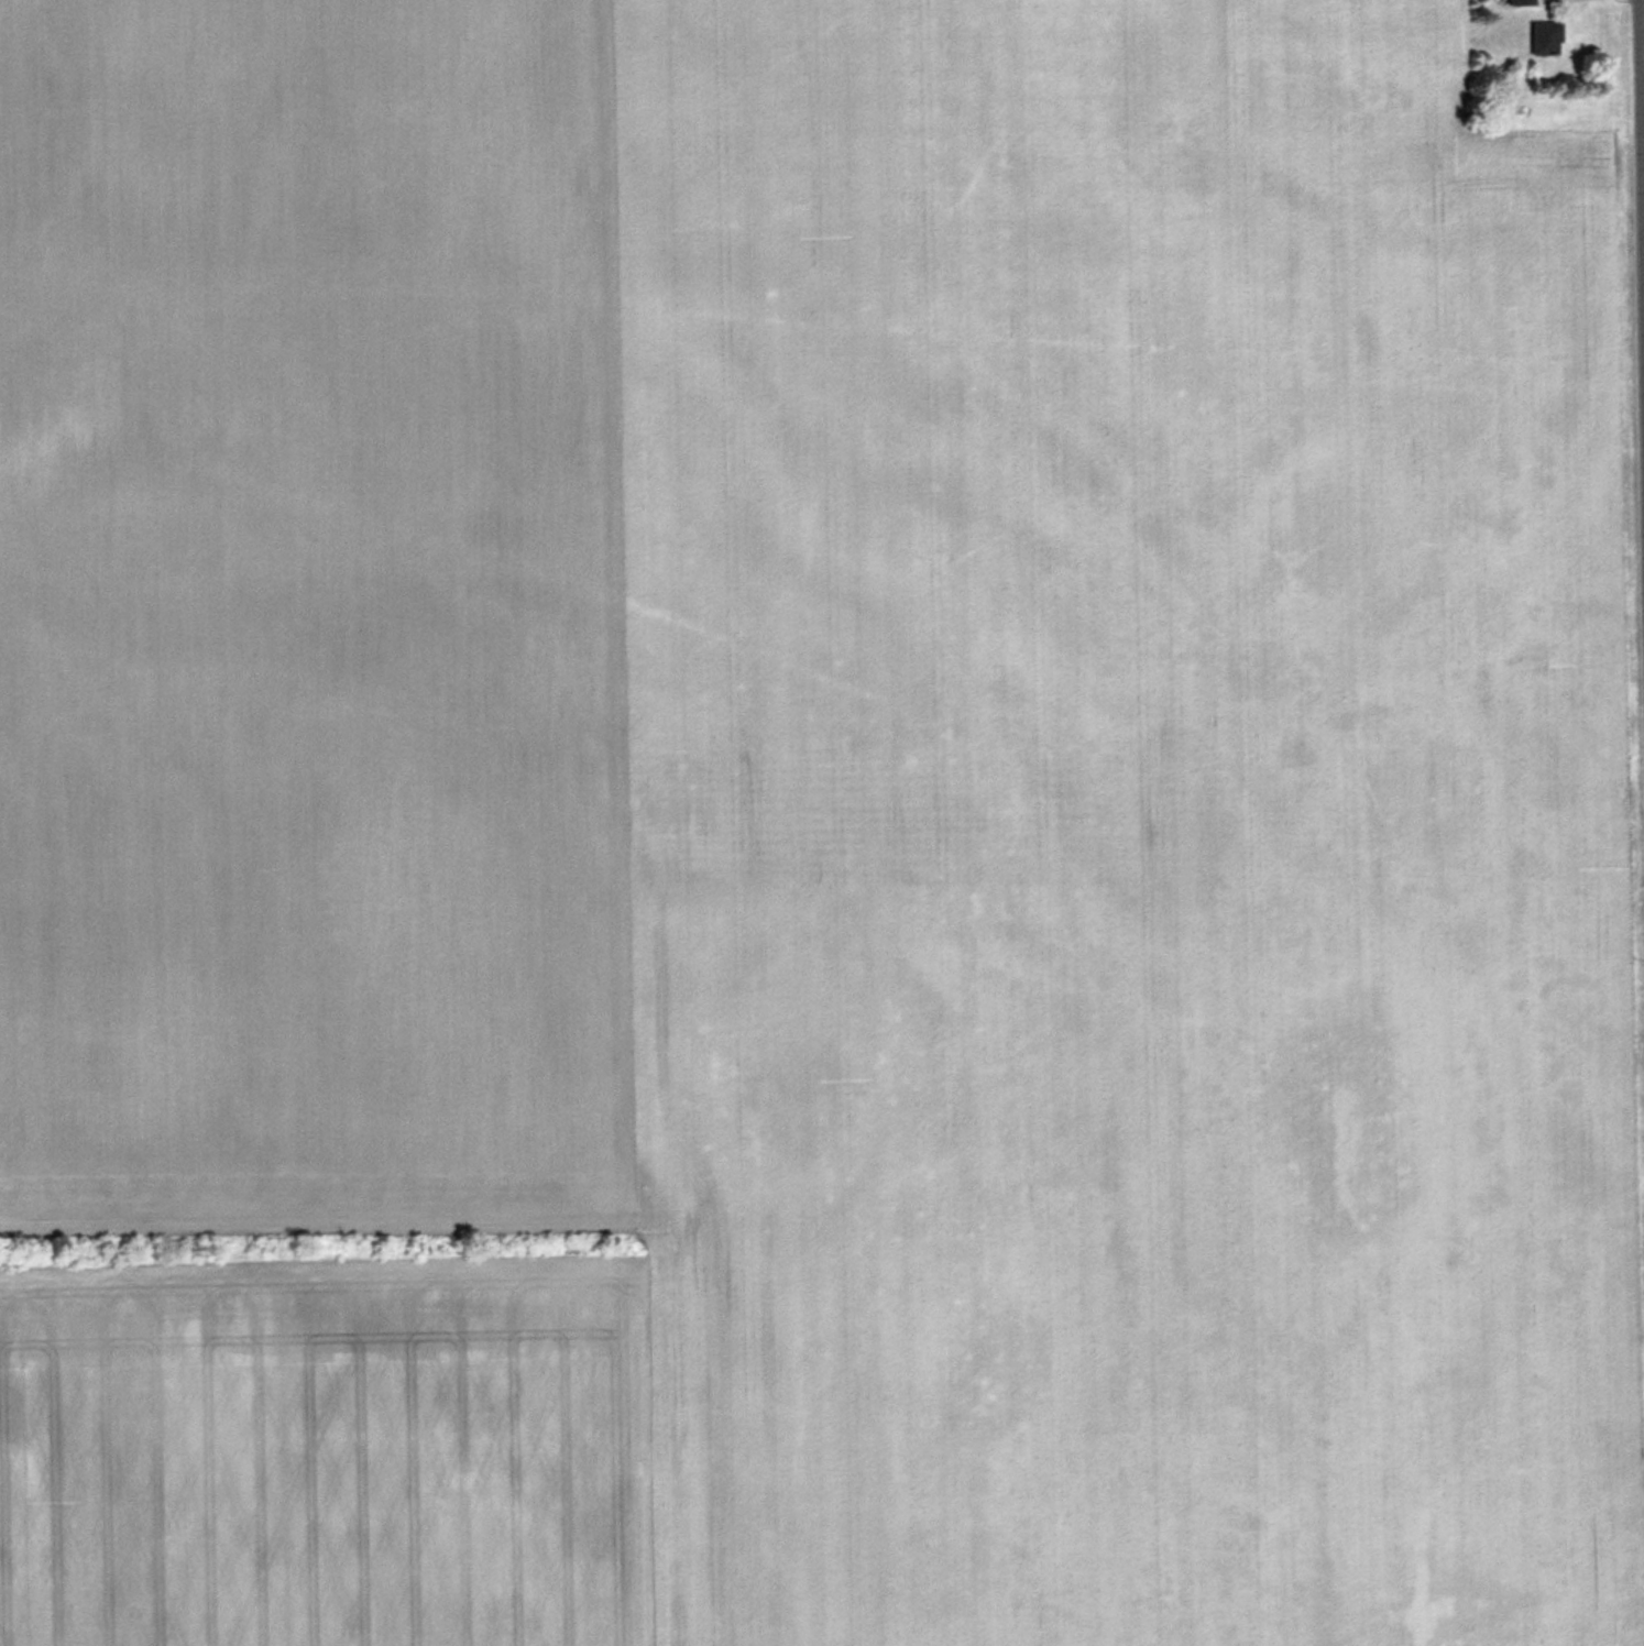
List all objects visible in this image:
building: (1514, 1)
building: (1538, 36)

